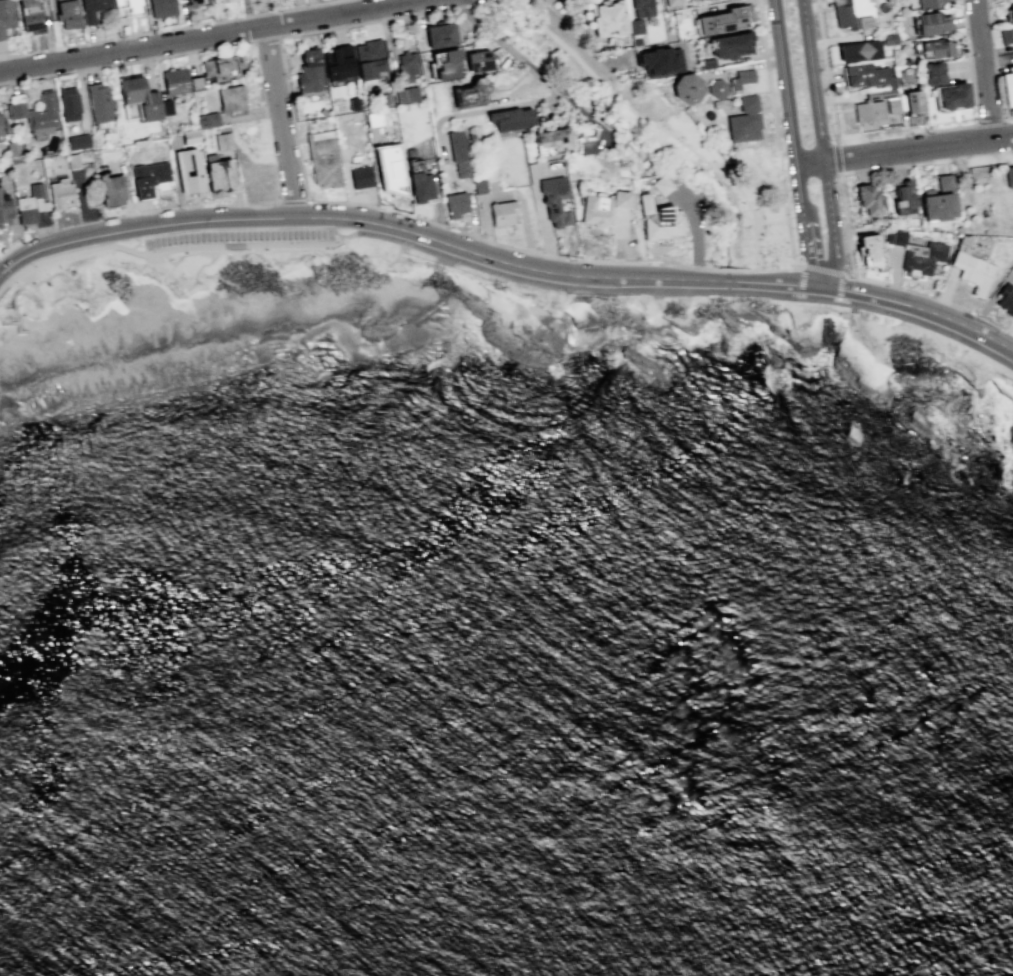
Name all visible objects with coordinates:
building: (214, 0)
building: (221, 0)
building: (704, 0)
building: (191, 2)
building: (671, 2)
road: (483, 3)
building: (925, 3)
road: (460, 6)
building: (127, 7)
building: (161, 7)
building: (642, 7)
building: (92, 9)
building: (67, 13)
building: (852, 13)
building: (1009, 13)
building: (5, 16)
building: (30, 16)
building: (607, 17)
building: (724, 19)
building: (931, 23)
building: (635, 25)
road: (168, 28)
road: (208, 34)
building: (457, 34)
building: (440, 35)
building: (1005, 35)
road: (572, 39)
building: (888, 39)
building: (730, 45)
building: (936, 48)
building: (857, 50)
building: (368, 58)
building: (480, 60)
building: (659, 60)
building: (338, 61)
building: (902, 61)
building: (445, 62)
building: (707, 63)
building: (221, 67)
building: (406, 67)
road: (531, 67)
road: (982, 70)
building: (309, 71)
road: (825, 71)
building: (931, 73)
building: (866, 75)
building: (903, 77)
building: (741, 78)
building: (174, 81)
road: (972, 85)
building: (1007, 86)
building: (686, 88)
building: (717, 88)
building: (406, 94)
building: (469, 94)
building: (950, 96)
building: (140, 97)
building: (385, 97)
building: (231, 98)
building: (884, 98)
road: (789, 100)
building: (912, 101)
building: (98, 102)
building: (68, 103)
building: (352, 103)
building: (166, 107)
road: (772, 111)
building: (867, 111)
road: (633, 113)
building: (36, 114)
building: (510, 118)
building: (206, 119)
road: (281, 119)
building: (374, 119)
building: (744, 120)
park: (639, 125)
building: (0, 131)
road: (820, 135)
building: (189, 136)
building: (553, 138)
building: (77, 141)
building: (222, 141)
road: (938, 145)
building: (588, 146)
building: (12, 148)
road: (905, 150)
building: (458, 152)
road: (836, 157)
building: (322, 158)
building: (72, 160)
building: (389, 168)
building: (189, 170)
road: (840, 174)
building: (220, 175)
building: (360, 176)
building: (1009, 176)
building: (148, 177)
building: (661, 185)
building: (419, 186)
building: (479, 186)
building: (110, 189)
building: (60, 192)
building: (619, 198)
building: (553, 199)
building: (867, 199)
building: (904, 200)
building: (938, 200)
road: (293, 201)
building: (30, 204)
building: (455, 204)
road: (182, 206)
building: (4, 209)
building: (596, 210)
road: (402, 211)
building: (502, 212)
building: (658, 219)
road: (771, 222)
road: (807, 234)
parking lot: (239, 235)
building: (869, 246)
road: (9, 248)
road: (755, 252)
building: (916, 252)
road: (505, 261)
building: (1012, 266)
road: (797, 267)
road: (807, 267)
road: (821, 269)
building: (972, 271)
road: (837, 272)
road: (816, 276)
road: (503, 277)
road: (824, 278)
road: (800, 280)
road: (840, 286)
road: (914, 291)
building: (1005, 300)
park: (45, 301)
park: (931, 348)
park: (1011, 406)

